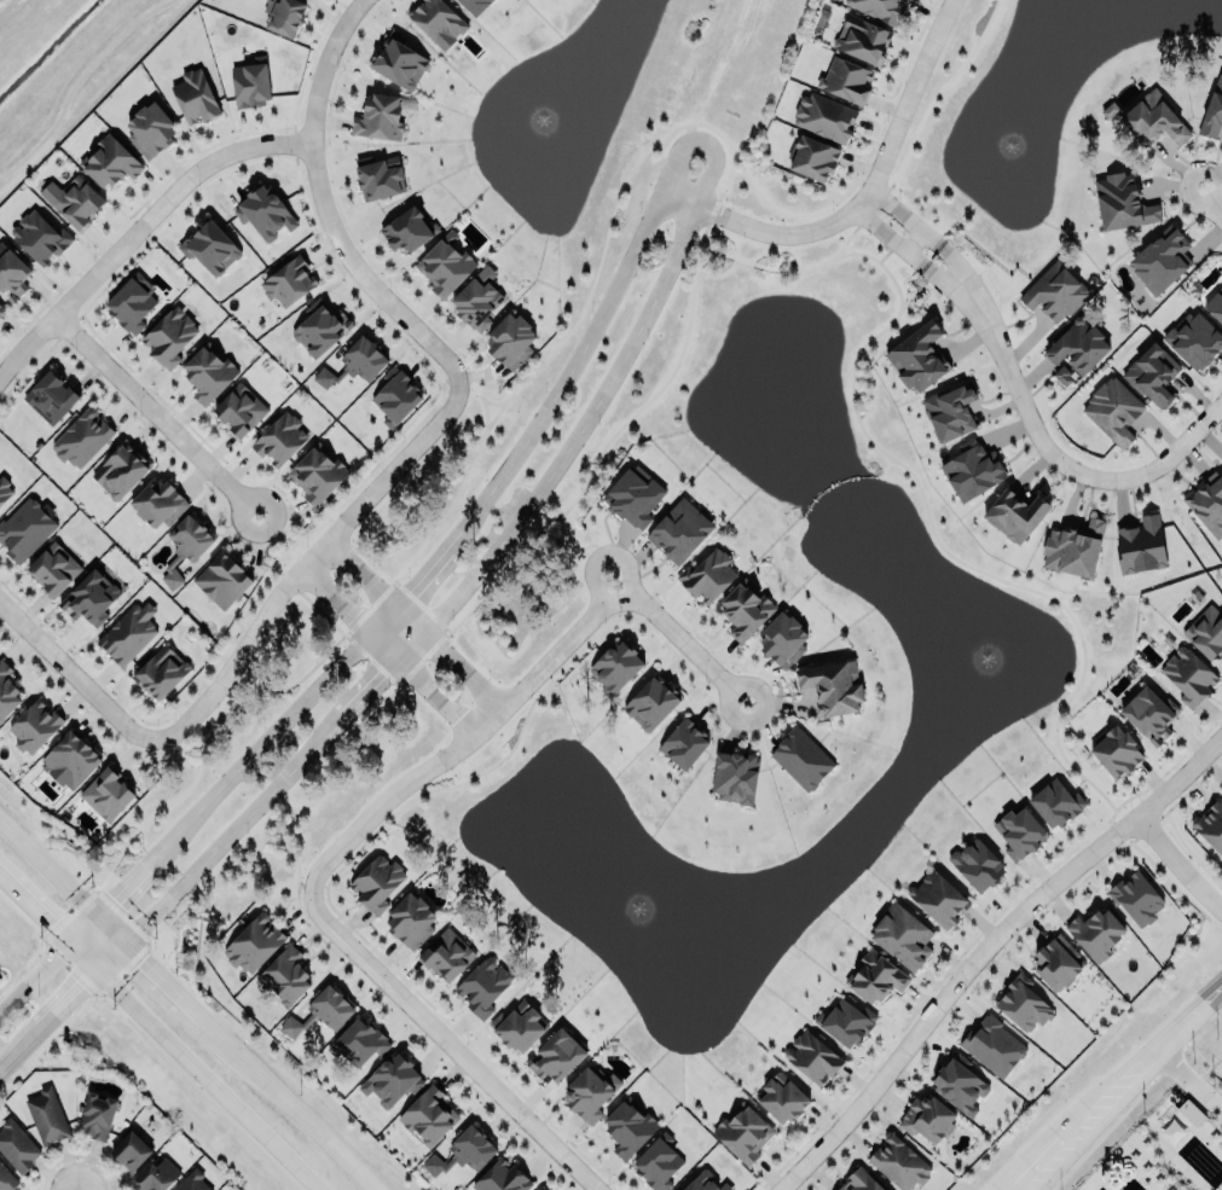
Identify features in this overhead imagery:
building: (475, 5)
building: (879, 8)
building: (283, 16)
building: (438, 22)
building: (863, 39)
building: (399, 62)
building: (847, 80)
building: (250, 85)
building: (196, 95)
building: (1108, 110)
building: (1211, 110)
building: (380, 117)
building: (824, 117)
building: (1157, 118)
building: (151, 129)
road: (706, 139)
building: (815, 158)
building: (110, 163)
building: (381, 178)
road: (862, 197)
building: (75, 202)
road: (888, 203)
building: (1122, 203)
road: (1214, 205)
road: (325, 208)
building: (266, 211)
road: (874, 222)
road: (135, 230)
building: (406, 231)
building: (39, 237)
road: (939, 243)
building: (212, 248)
building: (1162, 261)
road: (923, 262)
building: (445, 266)
building: (12, 272)
building: (290, 283)
building: (1055, 291)
building: (476, 302)
building: (132, 303)
building: (1214, 304)
building: (1, 309)
building: (322, 330)
building: (169, 337)
building: (1194, 339)
building: (510, 341)
building: (1077, 350)
building: (920, 358)
building: (355, 362)
road: (566, 373)
building: (1153, 373)
building: (208, 375)
building: (50, 397)
building: (394, 399)
building: (241, 410)
building: (944, 410)
building: (1113, 411)
road: (155, 414)
road: (581, 430)
building: (83, 439)
building: (279, 440)
road: (1054, 457)
building: (1221, 464)
building: (121, 470)
building: (318, 474)
building: (5, 489)
building: (633, 493)
building: (1207, 500)
building: (160, 504)
building: (1015, 515)
building: (27, 528)
building: (679, 532)
road: (282, 539)
building: (186, 546)
building: (1141, 546)
building: (1073, 550)
road: (301, 565)
building: (56, 568)
road: (601, 576)
road: (626, 576)
building: (708, 576)
building: (221, 580)
road: (407, 590)
building: (89, 599)
building: (746, 610)
road: (413, 619)
building: (129, 632)
building: (1206, 632)
building: (782, 640)
road: (682, 643)
road: (386, 648)
building: (616, 666)
building: (161, 673)
road: (384, 675)
building: (1187, 675)
road: (71, 681)
building: (833, 686)
building: (7, 692)
building: (651, 703)
building: (1151, 714)
building: (35, 726)
road: (268, 735)
road: (458, 741)
building: (684, 744)
building: (1117, 751)
building: (801, 759)
building: (73, 760)
building: (736, 777)
building: (108, 793)
building: (1054, 803)
building: (1211, 825)
building: (1013, 832)
road: (233, 834)
building: (977, 865)
road: (1177, 865)
road: (48, 866)
road: (132, 877)
building: (376, 883)
traffic signals: (114, 899)
building: (938, 899)
building: (1137, 900)
building: (410, 921)
traffic signals: (48, 923)
road: (50, 924)
road: (82, 930)
building: (1096, 934)
building: (902, 936)
building: (254, 945)
road: (989, 947)
building: (446, 954)
traffic signals: (139, 962)
building: (1059, 963)
building: (285, 974)
road: (34, 977)
building: (875, 977)
road: (157, 979)
building: (485, 986)
traffic signals: (85, 989)
road: (77, 995)
building: (1023, 1004)
building: (320, 1012)
building: (845, 1023)
building: (521, 1029)
road: (444, 1040)
building: (359, 1041)
building: (992, 1046)
building: (556, 1056)
building: (816, 1056)
road: (15, 1058)
building: (393, 1080)
road: (1191, 1080)
building: (960, 1081)
road: (207, 1082)
road: (1122, 1089)
building: (591, 1092)
building: (783, 1098)
building: (1192, 1111)
building: (97, 1115)
road: (296, 1115)
building: (430, 1115)
building: (47, 1116)
building: (929, 1119)
building: (629, 1127)
building: (743, 1133)
building: (18, 1147)
building: (131, 1151)
building: (463, 1153)
building: (659, 1162)
building: (898, 1163)
building: (157, 1176)
building: (502, 1178)
building: (6, 1179)
building: (862, 1180)
road: (71, 1182)
road: (88, 1182)
building: (193, 1182)
building: (705, 1183)
building: (539, 1189)

